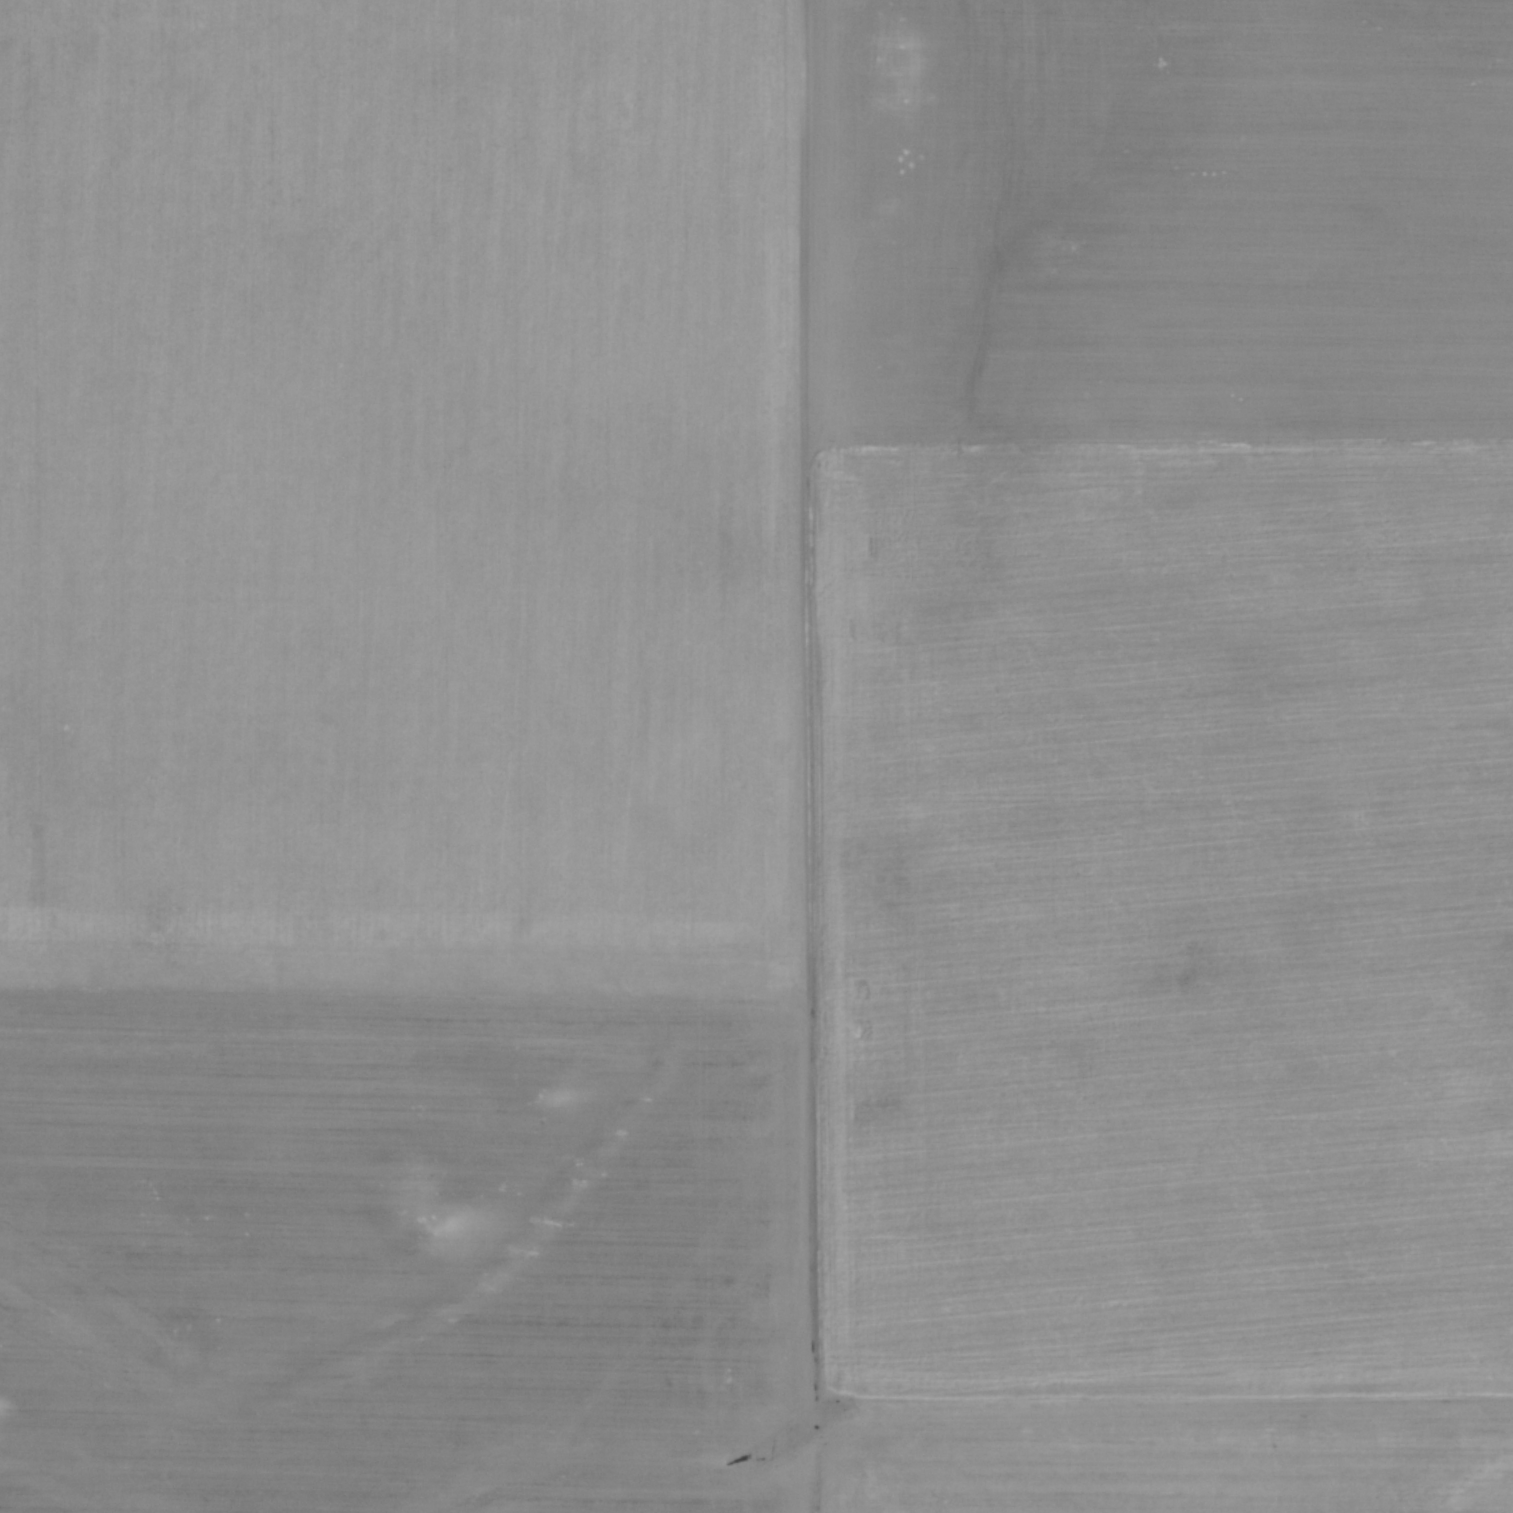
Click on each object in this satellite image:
crop: (756, 756)

